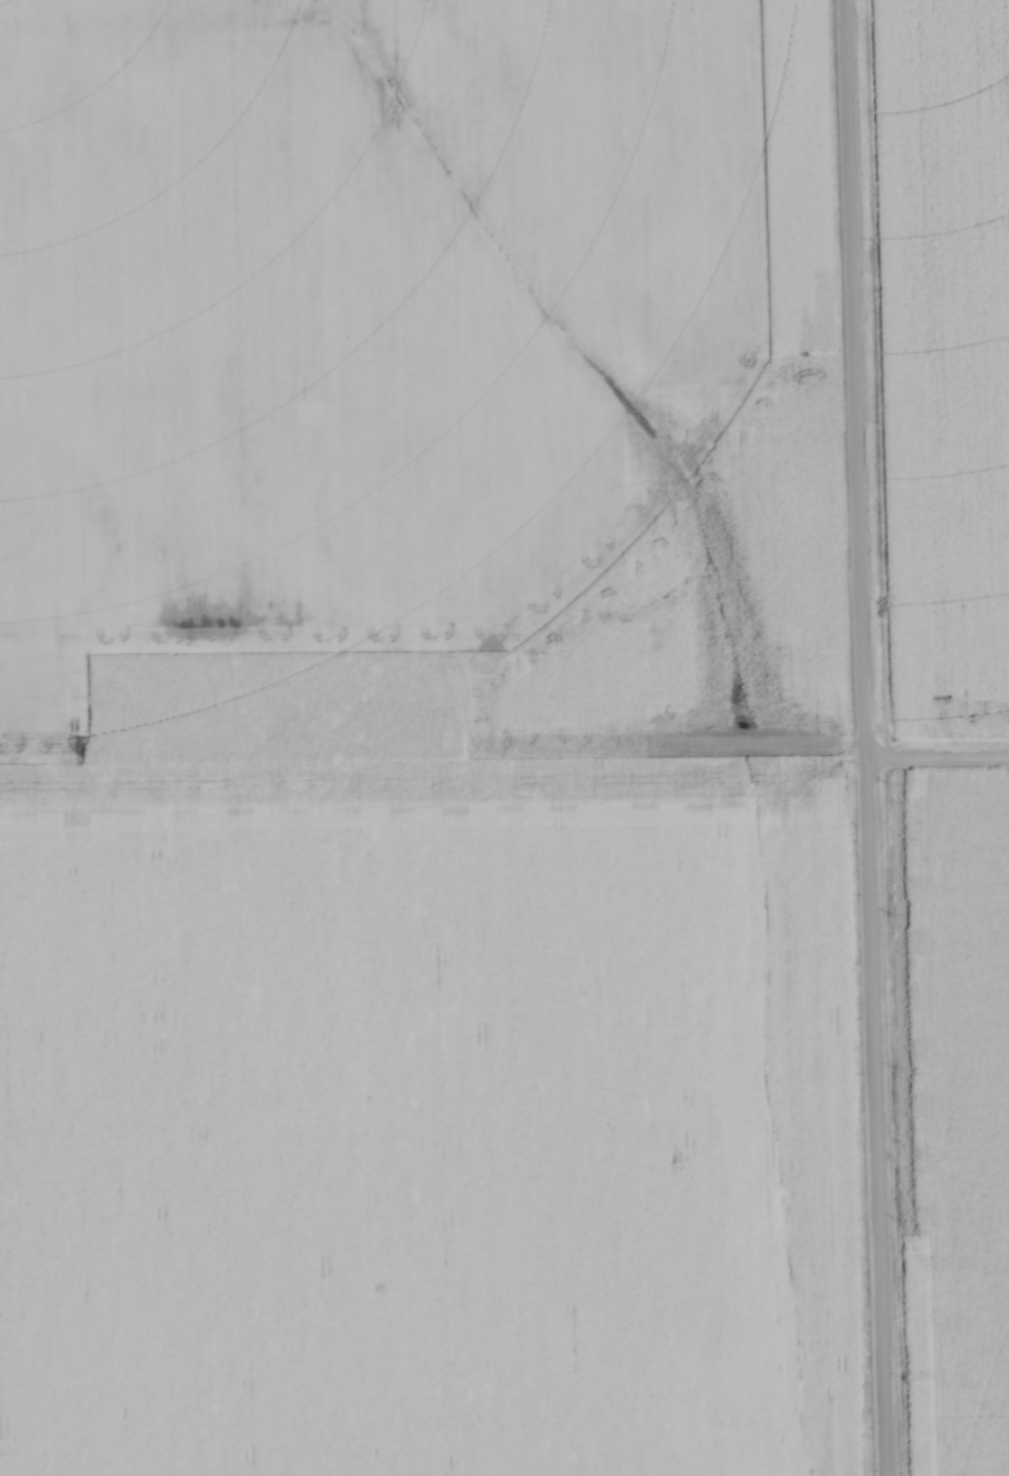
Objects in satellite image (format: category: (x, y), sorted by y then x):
road: (861, 738)
road: (935, 763)

